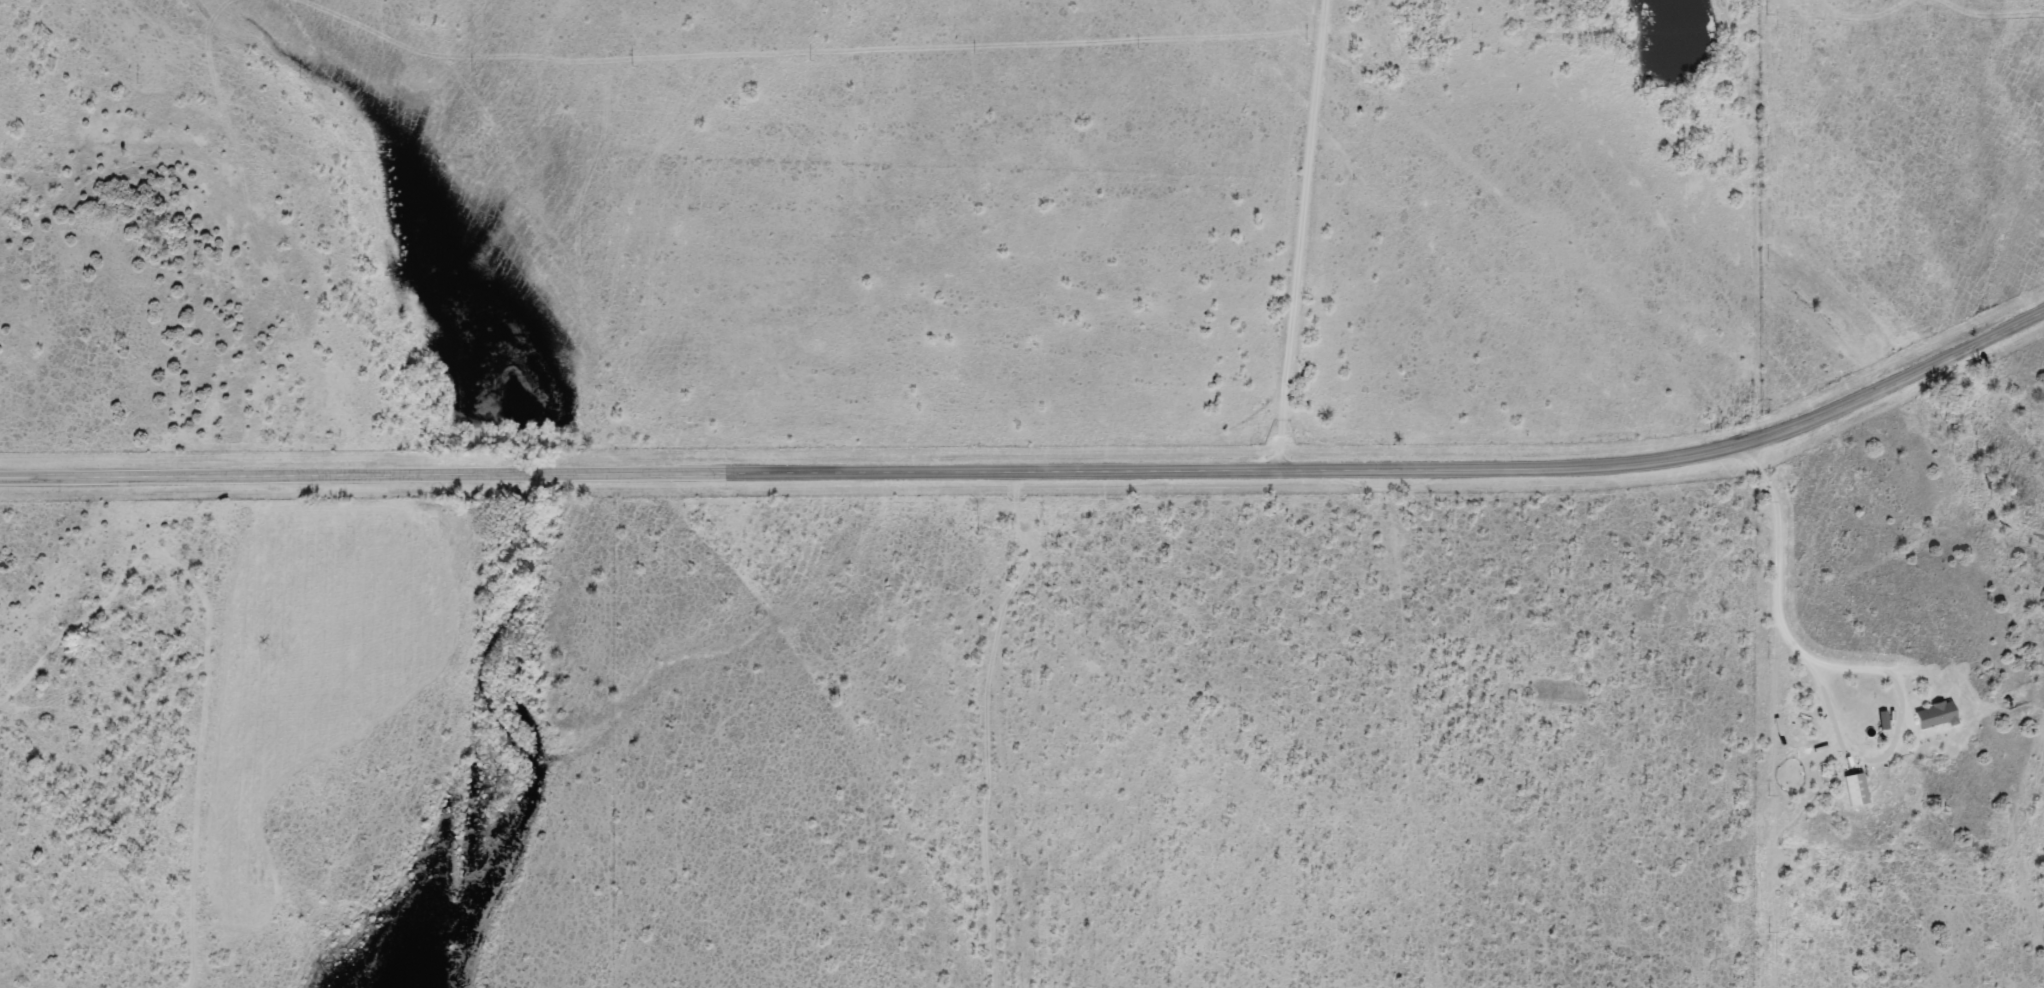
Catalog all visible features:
road: (1282, 234)
road: (1037, 472)
road: (1848, 669)
building: (1936, 716)
building: (1883, 722)
road: (1002, 729)
building: (1856, 790)

